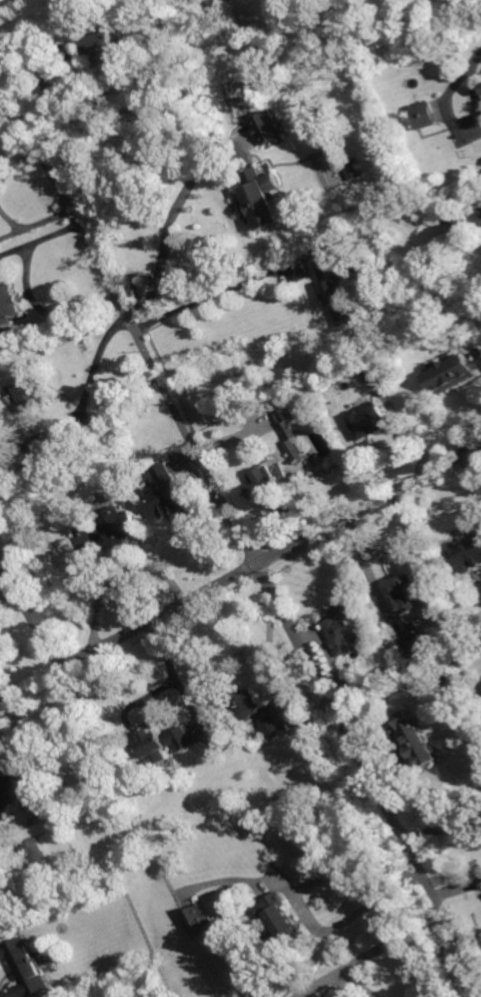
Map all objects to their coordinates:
building: (209, 3)
building: (103, 44)
building: (133, 115)
building: (424, 115)
building: (269, 129)
building: (125, 155)
building: (355, 170)
building: (260, 198)
building: (459, 224)
road: (169, 226)
building: (397, 278)
building: (340, 287)
road: (222, 290)
road: (29, 291)
building: (8, 306)
building: (2, 333)
road: (95, 363)
building: (370, 374)
building: (451, 375)
building: (28, 393)
building: (367, 419)
building: (288, 422)
building: (295, 451)
building: (30, 457)
building: (269, 479)
building: (168, 492)
building: (15, 513)
road: (237, 522)
building: (113, 531)
building: (469, 556)
road: (240, 573)
building: (12, 585)
building: (404, 592)
building: (349, 628)
building: (416, 649)
building: (386, 673)
building: (248, 701)
building: (270, 728)
building: (415, 737)
building: (164, 743)
building: (1, 779)
building: (4, 798)
road: (4, 832)
road: (447, 833)
building: (32, 853)
road: (306, 883)
building: (280, 921)
building: (200, 922)
road: (391, 942)
building: (25, 968)

